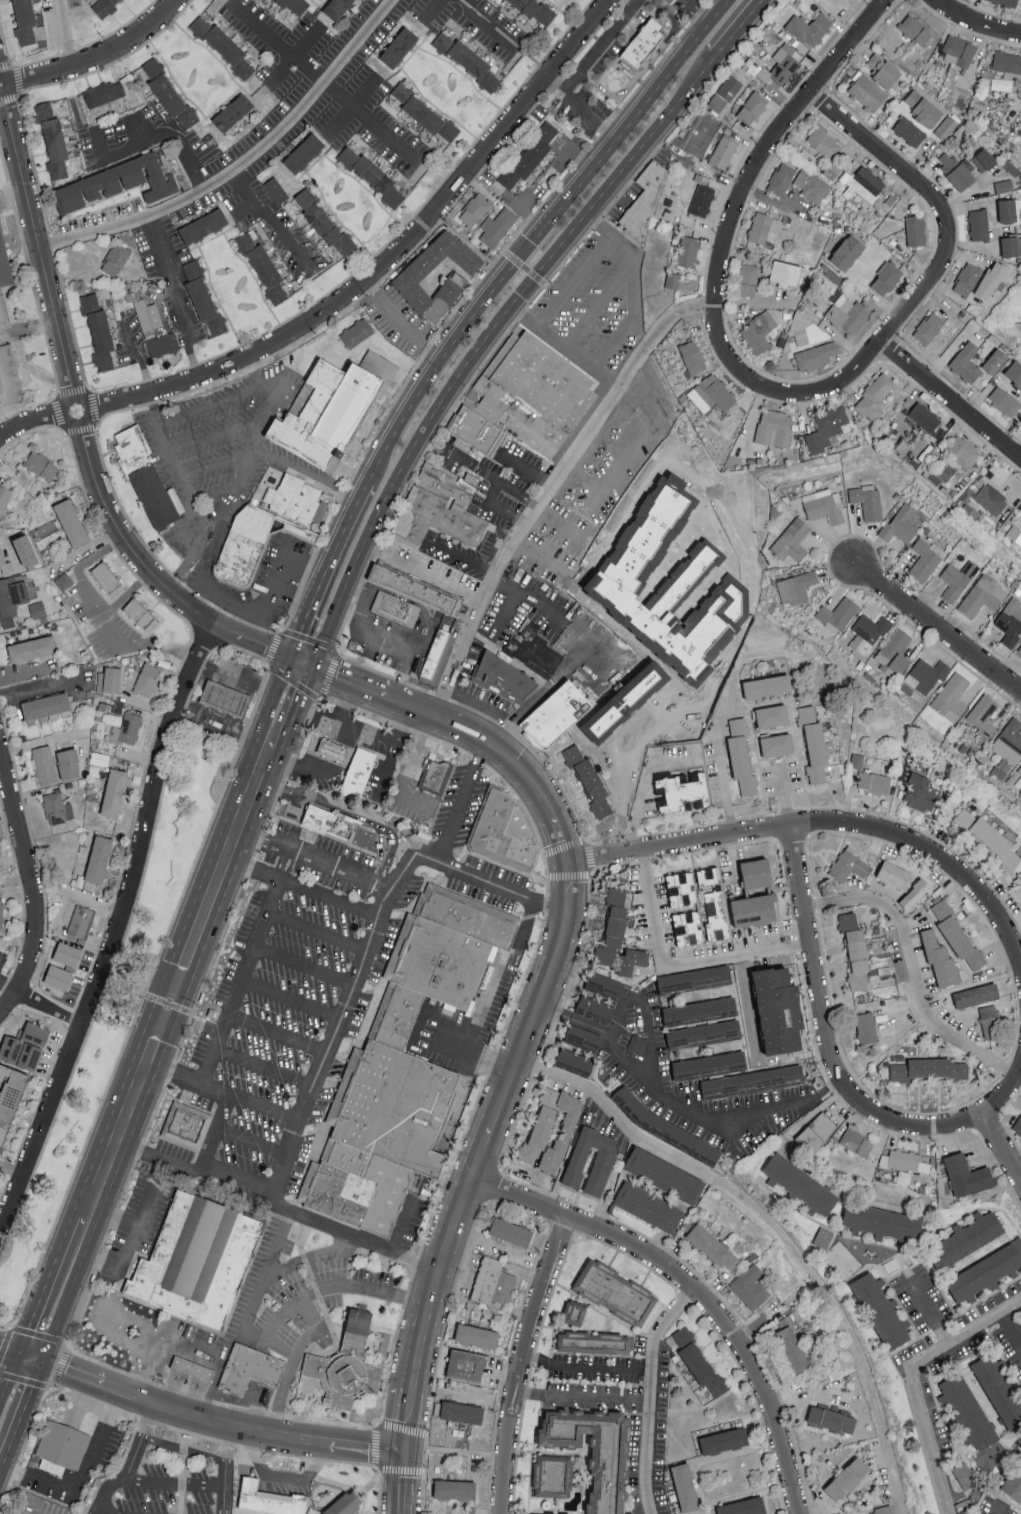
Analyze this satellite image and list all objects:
building: (672, 3)
building: (1005, 3)
building: (293, 5)
building: (106, 7)
building: (338, 9)
building: (533, 10)
road: (692, 14)
building: (26, 22)
road: (974, 23)
road: (741, 29)
building: (800, 30)
building: (916, 30)
road: (67, 35)
road: (505, 36)
road: (845, 45)
road: (600, 46)
building: (644, 46)
building: (398, 48)
building: (220, 50)
building: (958, 51)
road: (97, 57)
road: (650, 59)
building: (1007, 62)
building: (466, 63)
building: (784, 63)
building: (883, 70)
road: (17, 83)
building: (868, 91)
building: (725, 93)
building: (170, 94)
building: (104, 96)
parking lot: (299, 103)
building: (752, 107)
building: (922, 107)
road: (579, 109)
building: (425, 111)
building: (231, 115)
parking lot: (158, 126)
building: (946, 127)
building: (910, 131)
building: (730, 132)
building: (52, 142)
building: (823, 142)
road: (176, 147)
building: (723, 151)
building: (302, 153)
building: (532, 157)
road: (580, 160)
building: (984, 160)
road: (241, 162)
building: (957, 170)
building: (370, 176)
building: (781, 178)
building: (864, 183)
building: (115, 184)
building: (811, 185)
building: (1003, 185)
building: (275, 190)
road: (937, 198)
building: (701, 200)
building: (644, 204)
road: (521, 205)
building: (474, 209)
building: (1007, 211)
road: (267, 212)
building: (322, 223)
building: (978, 224)
building: (764, 227)
building: (202, 228)
building: (915, 230)
road: (537, 234)
road: (727, 236)
road: (50, 242)
traffic signals: (529, 244)
building: (1011, 246)
building: (688, 251)
building: (115, 258)
road: (387, 264)
building: (3, 265)
building: (261, 269)
road: (523, 269)
road: (29, 273)
building: (785, 273)
building: (886, 275)
building: (747, 279)
building: (967, 279)
building: (673, 280)
building: (991, 280)
building: (410, 281)
road: (575, 283)
road: (181, 293)
building: (205, 298)
traffic signals: (521, 298)
parking lot: (599, 302)
road: (527, 306)
road: (596, 308)
building: (2, 312)
building: (846, 312)
road: (390, 313)
building: (143, 314)
building: (929, 327)
building: (759, 331)
building: (356, 332)
building: (97, 333)
road: (620, 337)
road: (483, 346)
building: (163, 347)
road: (137, 354)
building: (815, 356)
building: (692, 357)
building: (995, 361)
building: (966, 362)
building: (379, 364)
building: (1014, 372)
building: (9, 377)
road: (277, 377)
road: (257, 385)
building: (537, 388)
road: (830, 389)
building: (711, 394)
road: (56, 396)
building: (875, 396)
road: (950, 398)
building: (1004, 401)
road: (208, 406)
building: (325, 413)
building: (925, 416)
road: (383, 418)
road: (79, 420)
road: (37, 422)
building: (774, 428)
building: (827, 428)
building: (474, 430)
road: (220, 431)
road: (252, 435)
building: (133, 443)
building: (963, 451)
road: (452, 453)
road: (636, 454)
road: (214, 465)
building: (40, 467)
road: (528, 468)
building: (939, 469)
road: (303, 472)
road: (181, 482)
building: (448, 484)
parking lot: (596, 486)
road: (232, 488)
road: (548, 489)
building: (153, 494)
building: (4, 498)
building: (294, 498)
building: (869, 502)
road: (495, 505)
road: (537, 506)
road: (585, 512)
building: (445, 515)
building: (901, 523)
building: (71, 524)
building: (410, 529)
building: (1014, 534)
building: (791, 540)
building: (244, 545)
building: (26, 552)
road: (94, 556)
building: (1, 557)
road: (189, 557)
road: (541, 557)
road: (466, 558)
building: (925, 558)
road: (121, 561)
road: (200, 572)
road: (323, 572)
road: (422, 574)
building: (104, 578)
building: (957, 579)
building: (64, 581)
road: (273, 581)
building: (412, 586)
building: (796, 587)
road: (357, 590)
road: (127, 595)
building: (982, 596)
building: (12, 598)
road: (422, 605)
building: (395, 609)
road: (543, 611)
building: (138, 613)
building: (837, 614)
road: (503, 618)
building: (1010, 621)
road: (105, 622)
parking lot: (108, 628)
road: (939, 628)
building: (868, 632)
road: (391, 647)
building: (32, 649)
building: (895, 650)
building: (1019, 651)
building: (435, 653)
road: (576, 656)
road: (334, 658)
building: (518, 665)
traffic signals: (301, 667)
road: (266, 669)
building: (926, 674)
building: (111, 678)
building: (147, 678)
road: (240, 682)
building: (767, 685)
road: (44, 686)
road: (368, 693)
building: (951, 696)
road: (213, 698)
building: (224, 698)
road: (343, 703)
building: (45, 704)
road: (285, 706)
road: (237, 707)
building: (556, 713)
building: (983, 714)
building: (772, 715)
road: (300, 719)
building: (127, 728)
road: (223, 728)
building: (1009, 741)
road: (375, 742)
building: (814, 743)
building: (777, 744)
building: (331, 753)
road: (392, 753)
building: (741, 756)
road: (724, 759)
road: (284, 761)
building: (68, 762)
building: (44, 763)
road: (410, 771)
building: (358, 774)
building: (435, 776)
building: (590, 782)
building: (873, 782)
road: (645, 785)
road: (335, 789)
building: (114, 791)
building: (682, 791)
building: (920, 791)
road: (781, 798)
road: (460, 803)
building: (57, 806)
building: (330, 820)
road: (826, 823)
building: (1004, 827)
building: (504, 834)
building: (988, 836)
road: (366, 852)
building: (98, 858)
road: (313, 861)
traffic signals: (567, 863)
building: (848, 864)
building: (756, 872)
building: (707, 874)
building: (895, 874)
road: (33, 885)
building: (681, 887)
building: (914, 892)
road: (741, 894)
road: (79, 897)
road: (327, 897)
building: (753, 908)
road: (64, 909)
building: (1, 912)
building: (468, 916)
building: (714, 918)
building: (81, 923)
building: (613, 925)
building: (687, 927)
road: (316, 931)
road: (116, 933)
building: (958, 935)
building: (855, 950)
building: (67, 953)
road: (247, 957)
building: (939, 957)
road: (9, 958)
building: (632, 959)
building: (438, 961)
road: (303, 966)
road: (682, 966)
road: (913, 974)
building: (58, 976)
building: (694, 978)
road: (177, 983)
building: (603, 985)
road: (353, 986)
road: (9, 987)
park: (121, 988)
road: (486, 994)
building: (976, 994)
road: (289, 1002)
road: (167, 1003)
road: (49, 1006)
building: (594, 1007)
building: (778, 1008)
building: (397, 1017)
building: (989, 1020)
building: (866, 1027)
building: (703, 1033)
road: (276, 1034)
building: (583, 1037)
road: (825, 1037)
road: (435, 1039)
building: (637, 1042)
building: (25, 1044)
parking lot: (266, 1054)
road: (518, 1059)
building: (575, 1061)
road: (626, 1063)
building: (929, 1068)
road: (261, 1070)
road: (653, 1072)
building: (752, 1081)
building: (9, 1095)
road: (1006, 1095)
building: (397, 1108)
building: (1017, 1125)
road: (749, 1127)
building: (184, 1128)
building: (551, 1129)
road: (212, 1132)
building: (816, 1132)
building: (856, 1142)
road: (1004, 1145)
road: (248, 1146)
building: (348, 1158)
building: (904, 1160)
building: (601, 1168)
road: (12, 1170)
building: (664, 1174)
building: (967, 1174)
road: (230, 1181)
road: (549, 1183)
building: (801, 1183)
building: (341, 1195)
building: (388, 1205)
building: (649, 1206)
building: (881, 1221)
road: (402, 1225)
road: (777, 1230)
building: (511, 1231)
road: (133, 1237)
building: (823, 1237)
building: (968, 1238)
road: (352, 1240)
building: (713, 1247)
building: (202, 1260)
road: (337, 1271)
building: (985, 1272)
road: (315, 1283)
building: (495, 1284)
building: (751, 1286)
road: (263, 1287)
road: (60, 1290)
road: (86, 1290)
building: (615, 1291)
road: (693, 1292)
road: (932, 1308)
road: (311, 1310)
building: (881, 1310)
building: (574, 1312)
road: (279, 1316)
road: (1011, 1333)
building: (477, 1335)
building: (91, 1337)
building: (594, 1342)
road: (66, 1349)
building: (793, 1349)
road: (15, 1354)
traffic signals: (31, 1359)
road: (523, 1362)
building: (699, 1362)
road: (581, 1366)
building: (466, 1367)
building: (347, 1368)
building: (250, 1370)
building: (193, 1372)
road: (11, 1373)
road: (915, 1378)
building: (997, 1386)
road: (648, 1395)
road: (575, 1397)
road: (77, 1406)
building: (967, 1410)
building: (461, 1411)
road: (177, 1415)
road: (22, 1416)
building: (832, 1419)
building: (724, 1440)
building: (59, 1445)
road: (234, 1445)
road: (376, 1445)
road: (183, 1449)
road: (368, 1449)
building: (594, 1451)
traffic signals: (405, 1453)
road: (130, 1464)
road: (225, 1471)
road: (423, 1474)
road: (282, 1475)
building: (552, 1475)
road: (81, 1477)
building: (847, 1478)
building: (1013, 1480)
road: (174, 1481)
parking lot: (165, 1482)
road: (404, 1483)
building: (685, 1486)
building: (455, 1489)
building: (269, 1498)
building: (350, 1505)
building: (743, 1506)
parking lot: (42, 1508)
building: (882, 1510)
building: (539, 1513)
road: (997, 1513)

